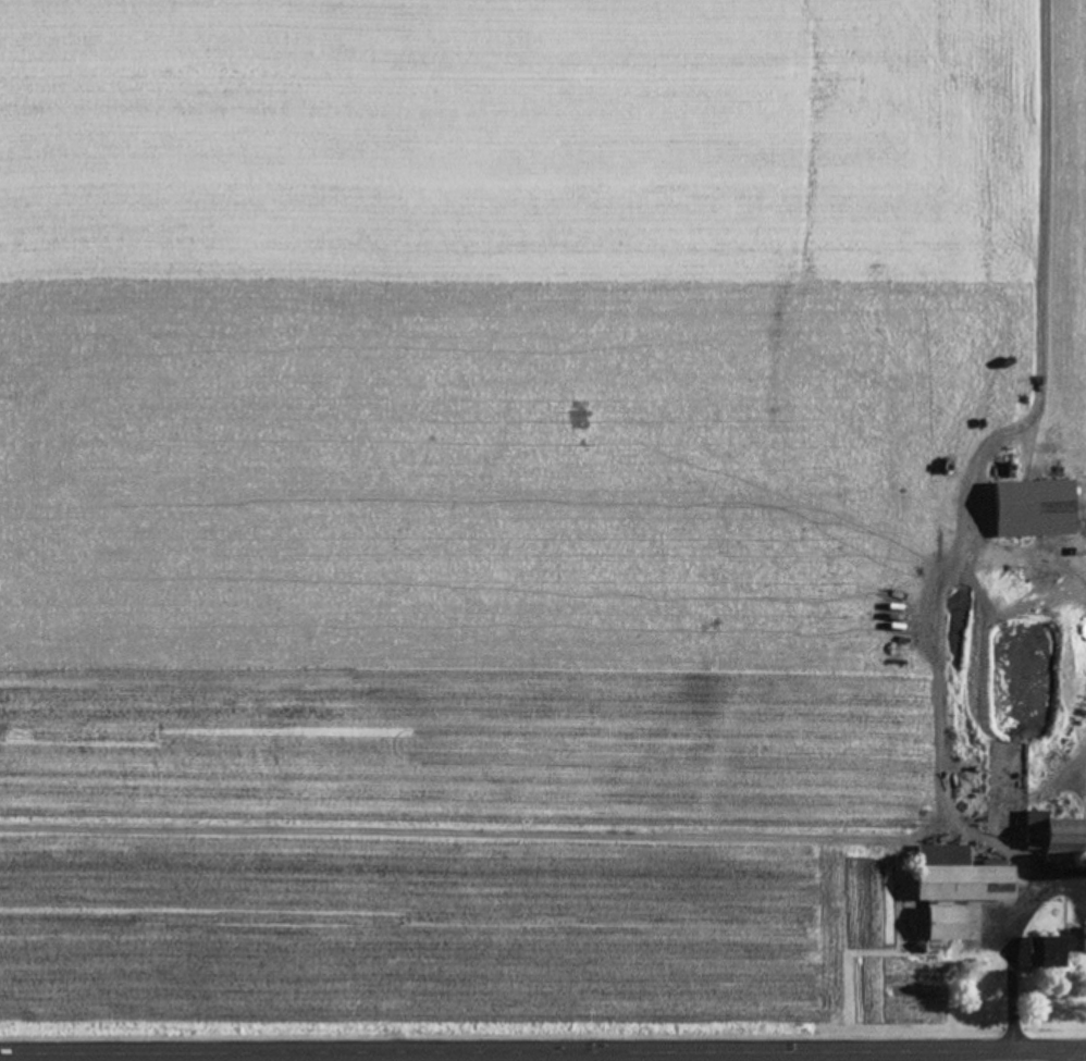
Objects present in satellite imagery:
building: (1056, 841)
building: (951, 887)
road: (1007, 936)
building: (1053, 948)
road: (542, 1050)
road: (1060, 1056)

